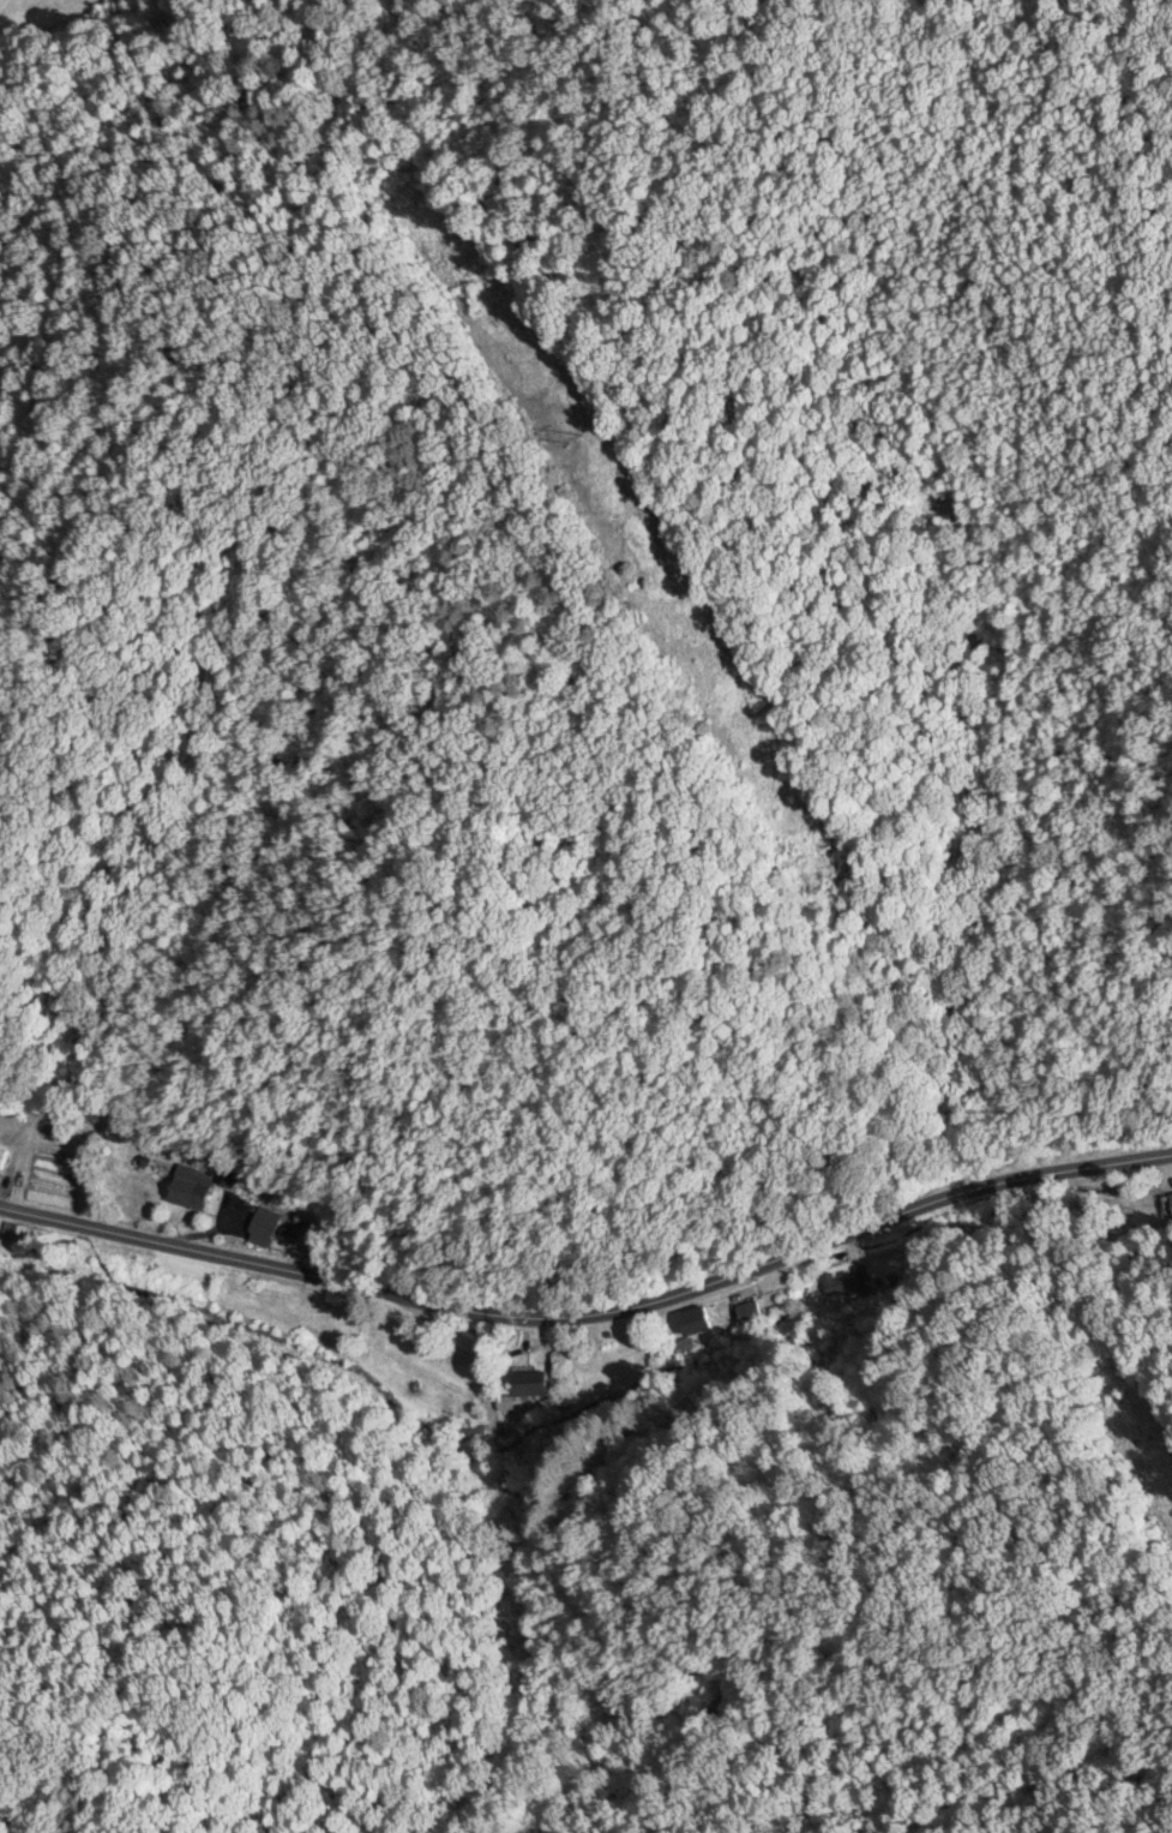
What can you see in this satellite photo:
building: (0, 1152)
building: (187, 1187)
building: (1167, 1204)
building: (270, 1227)
building: (846, 1280)
road: (591, 1313)
building: (693, 1320)
building: (525, 1384)
building: (473, 1432)

